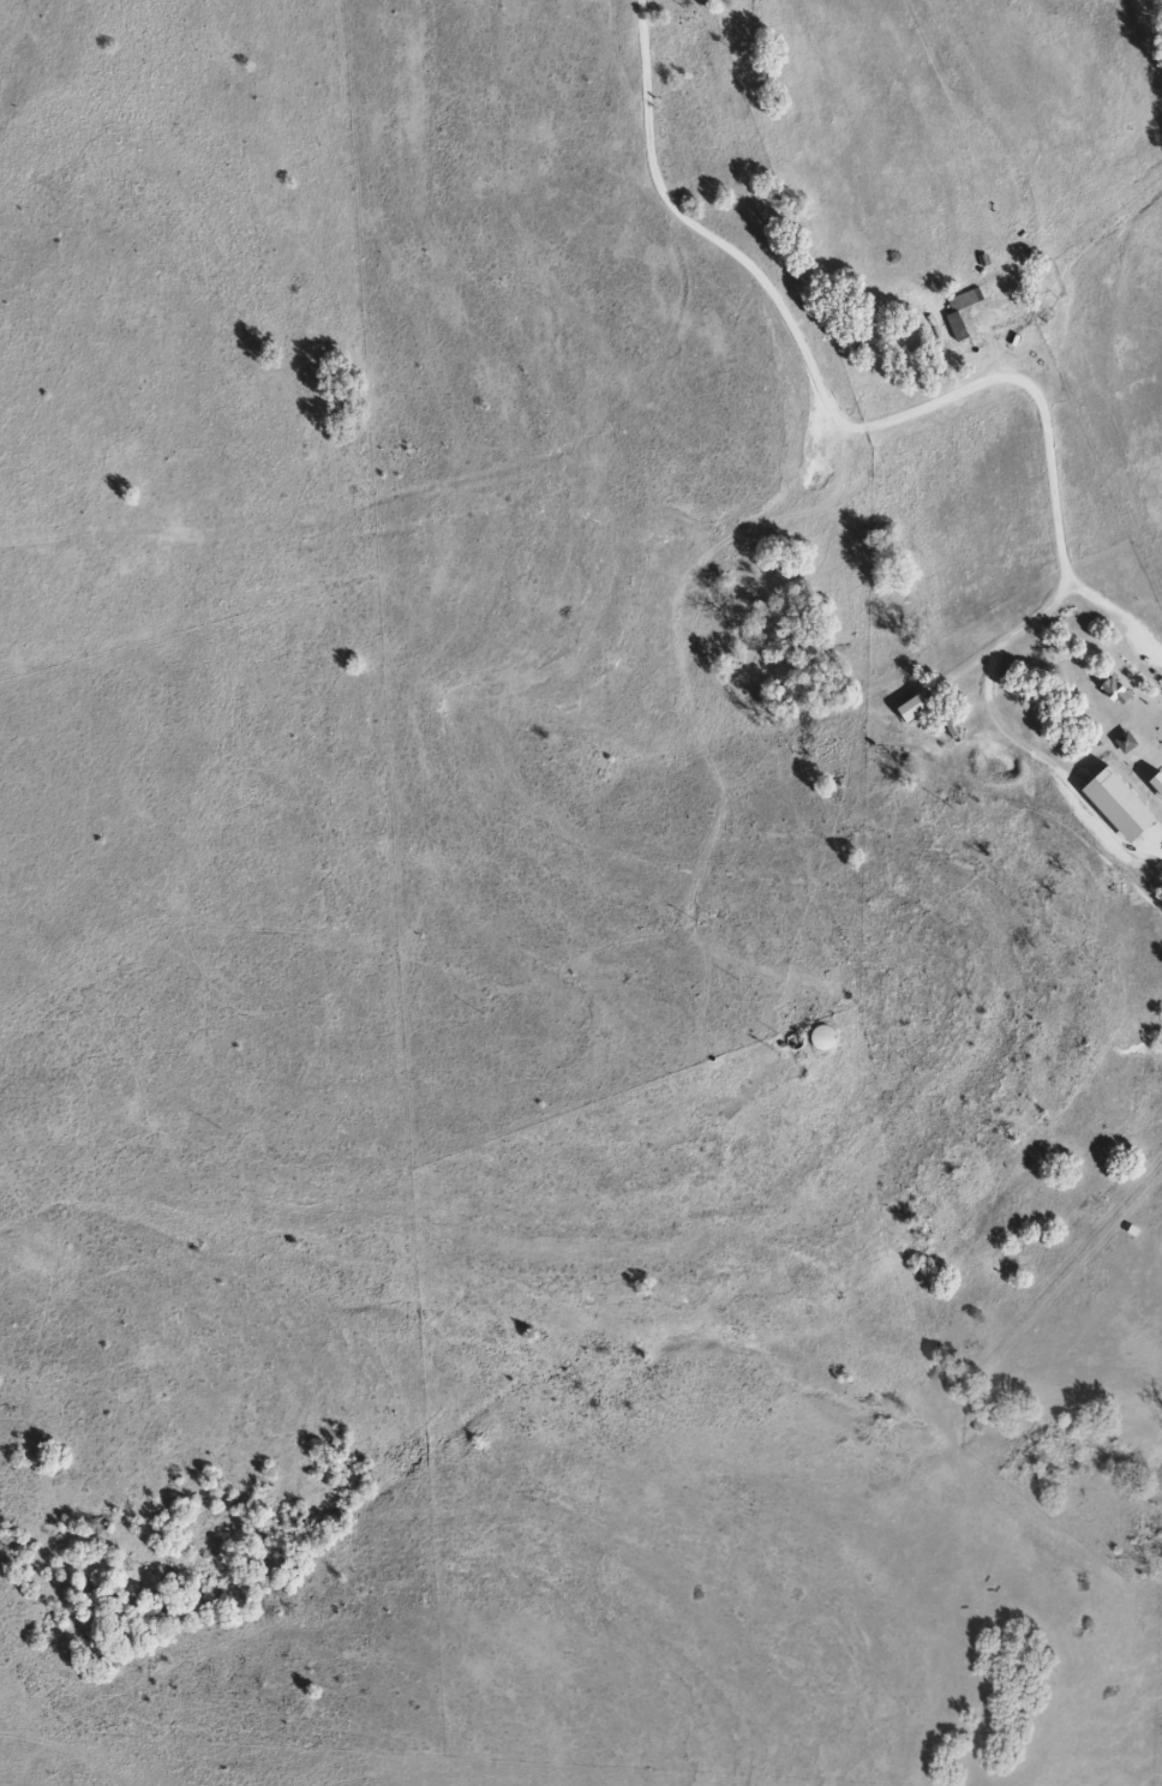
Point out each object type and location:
road: (733, 256)
building: (969, 296)
building: (953, 326)
building: (1112, 691)
building: (908, 708)

